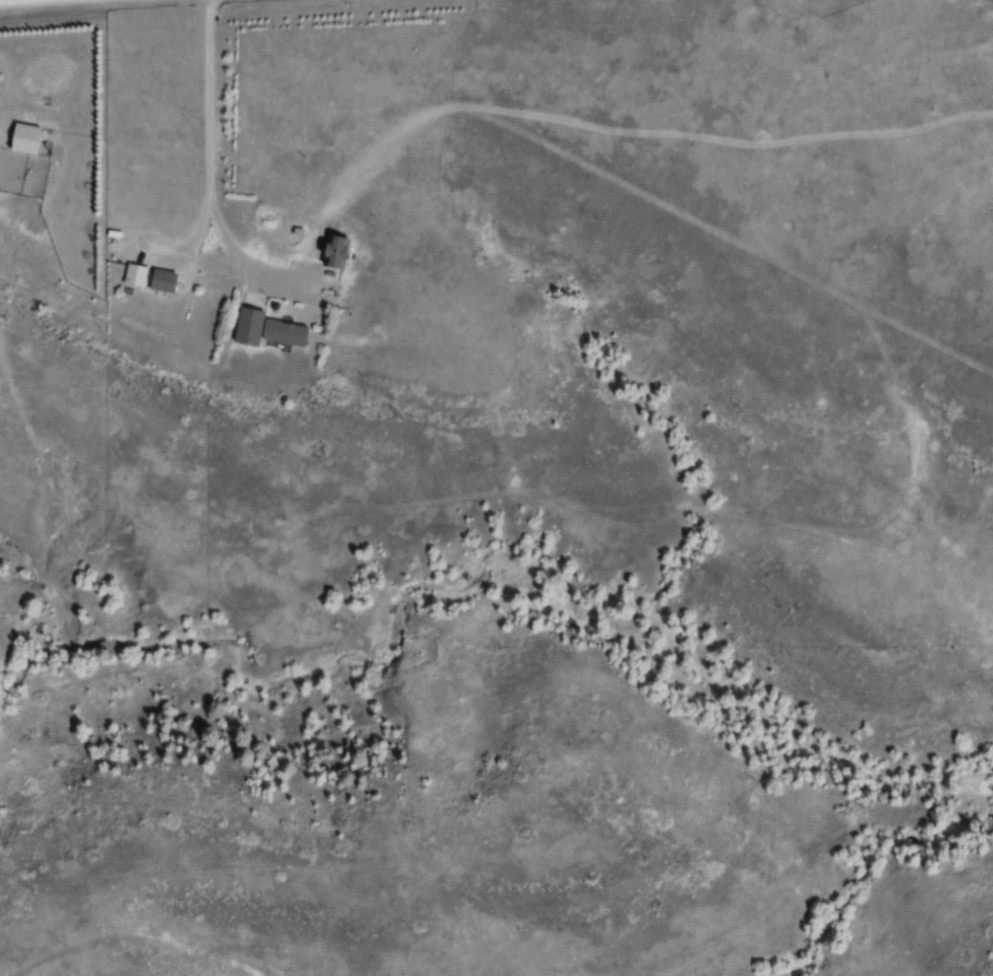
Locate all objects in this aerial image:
road: (19, 1)
road: (208, 138)
building: (336, 249)
building: (150, 278)
building: (264, 327)
building: (528, 589)

